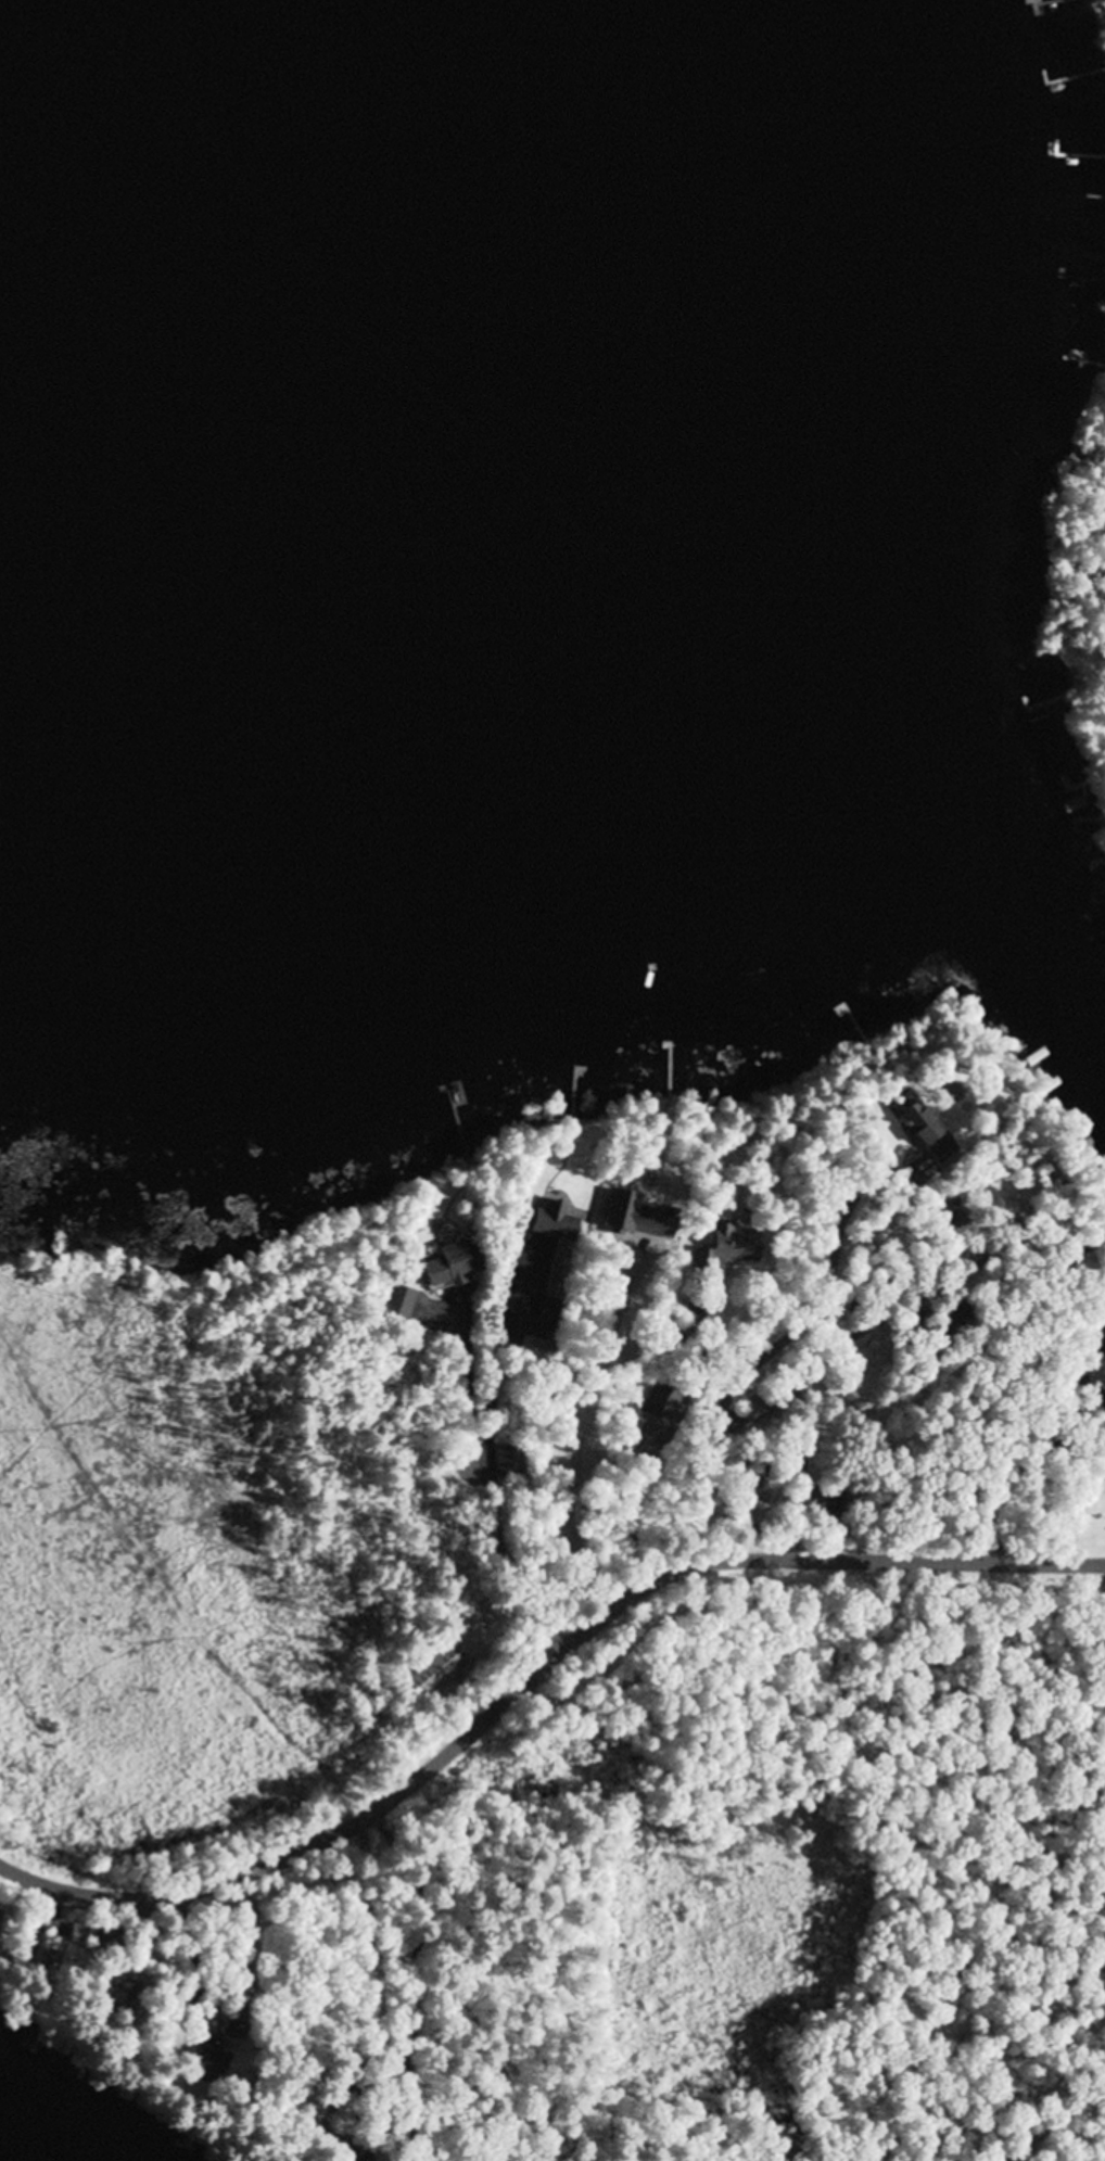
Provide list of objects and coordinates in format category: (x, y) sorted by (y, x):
river: (500, 565)
building: (923, 1132)
building: (546, 1221)
building: (727, 1249)
building: (442, 1263)
building: (394, 1305)
building: (530, 1329)
road: (882, 1361)
road: (698, 1378)
road: (1026, 1444)
building: (505, 1463)
road: (531, 1671)
building: (435, 1674)
building: (105, 1994)
building: (212, 2062)

